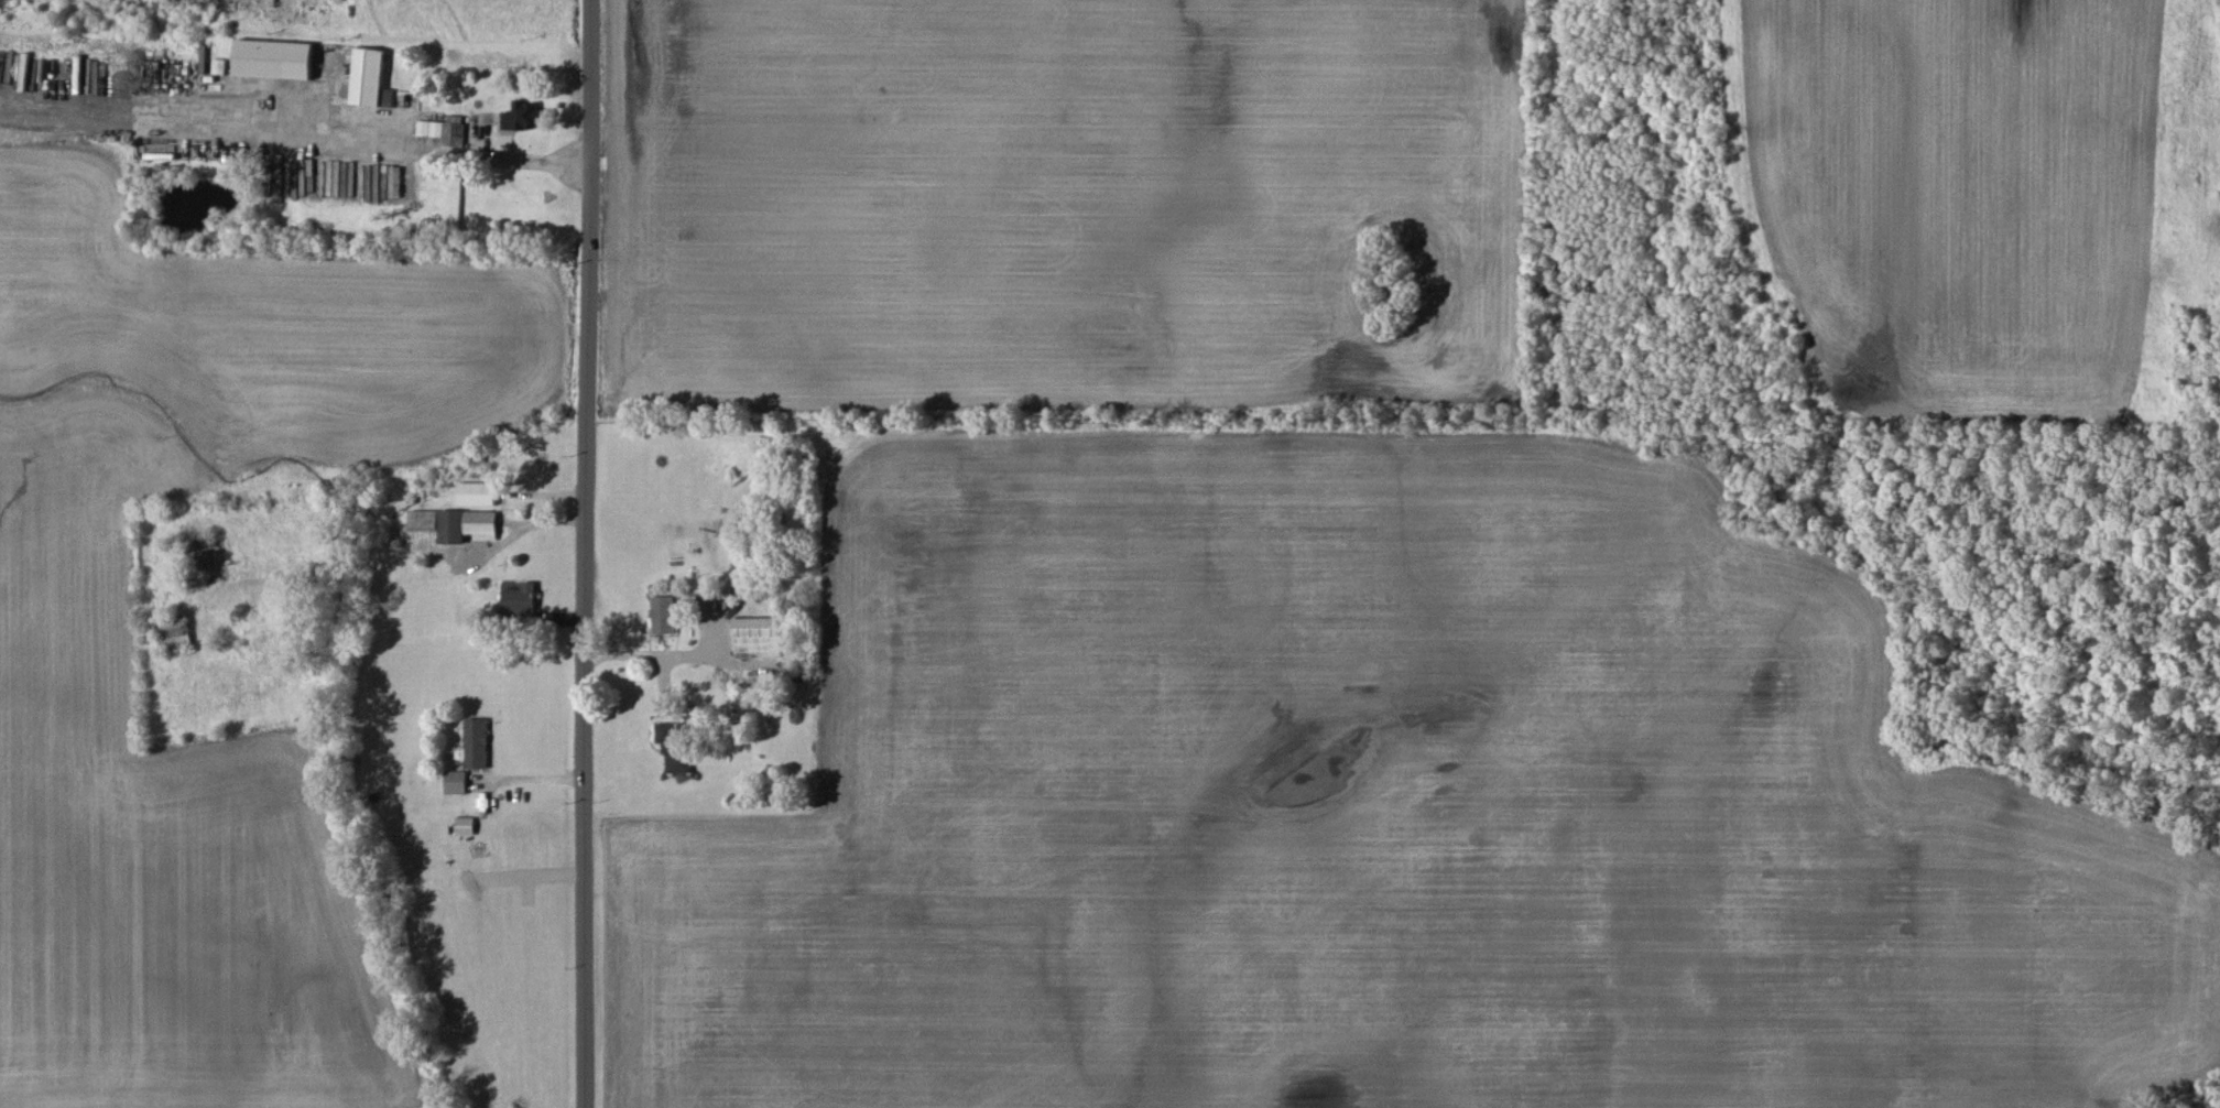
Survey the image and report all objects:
building: (273, 58)
building: (366, 80)
building: (524, 116)
building: (443, 131)
road: (274, 133)
building: (476, 493)
building: (422, 520)
building: (466, 525)
road: (382, 537)
road: (584, 553)
building: (200, 555)
building: (520, 600)
building: (705, 601)
building: (663, 615)
building: (173, 632)
building: (757, 637)
road: (649, 653)
building: (476, 742)
building: (673, 746)
building: (455, 782)
building: (464, 825)

